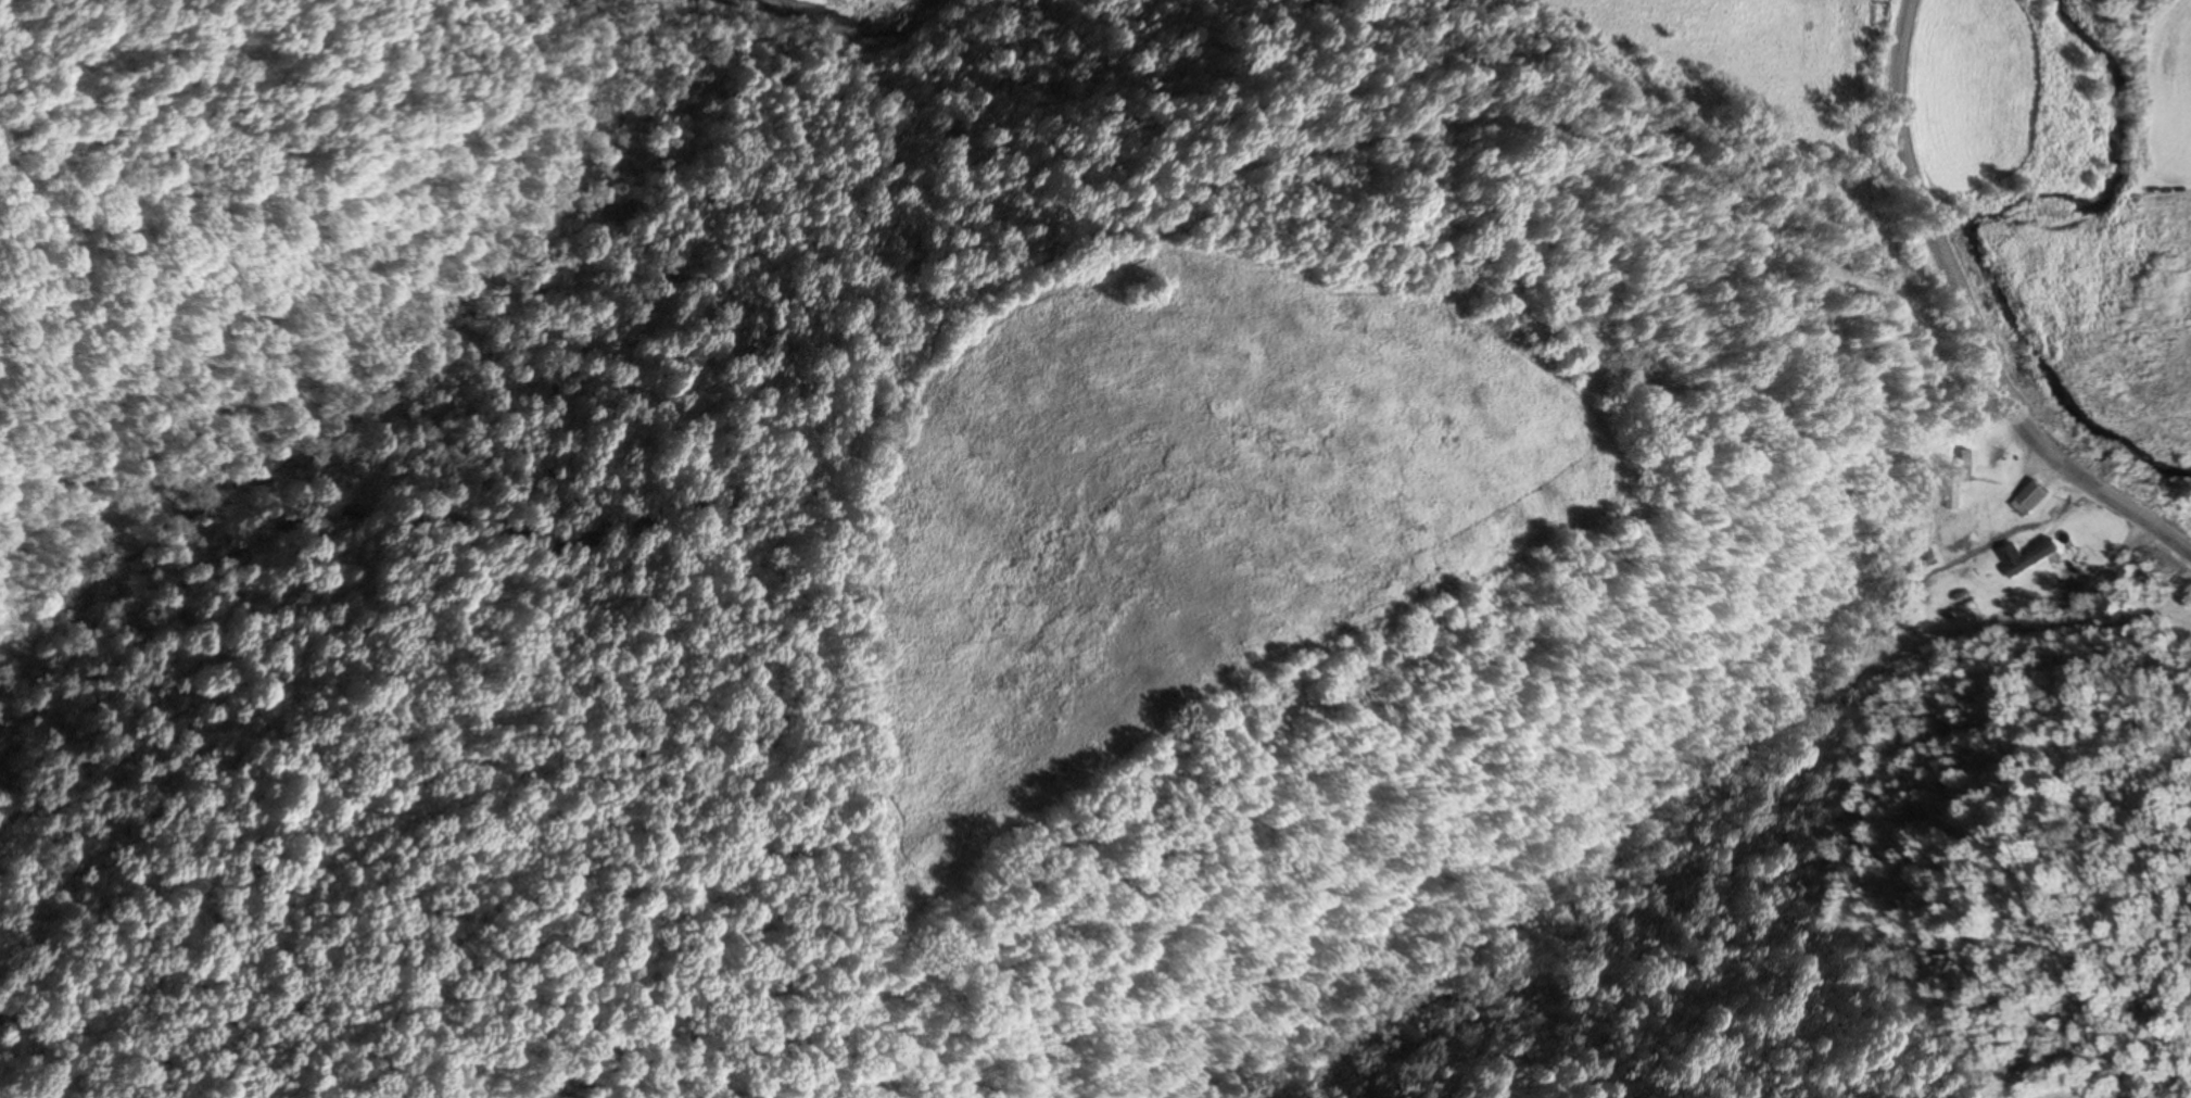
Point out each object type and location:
road: (1964, 320)
building: (1956, 480)
building: (2032, 500)
building: (2028, 557)

